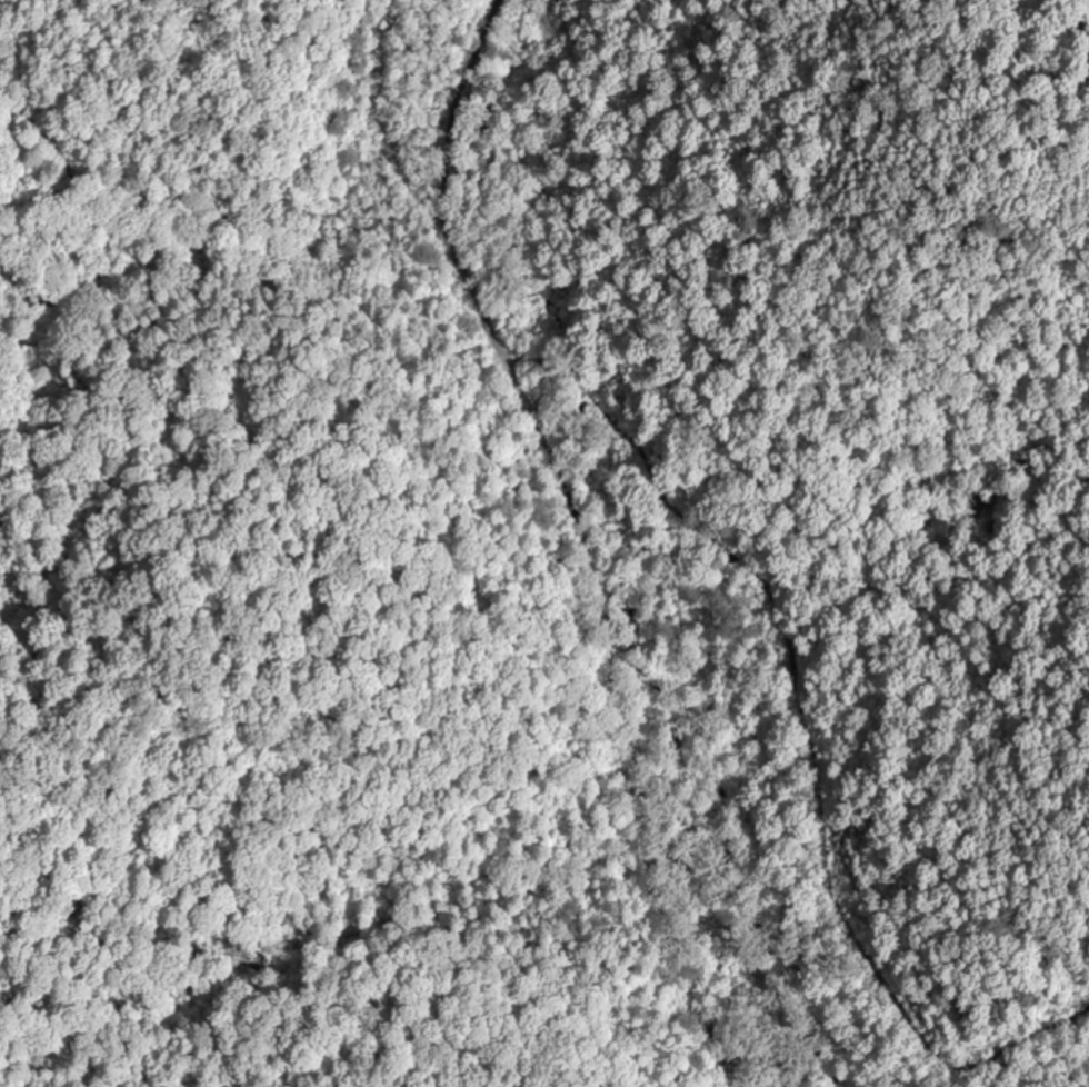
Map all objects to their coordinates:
road: (176, 248)
road: (487, 545)

